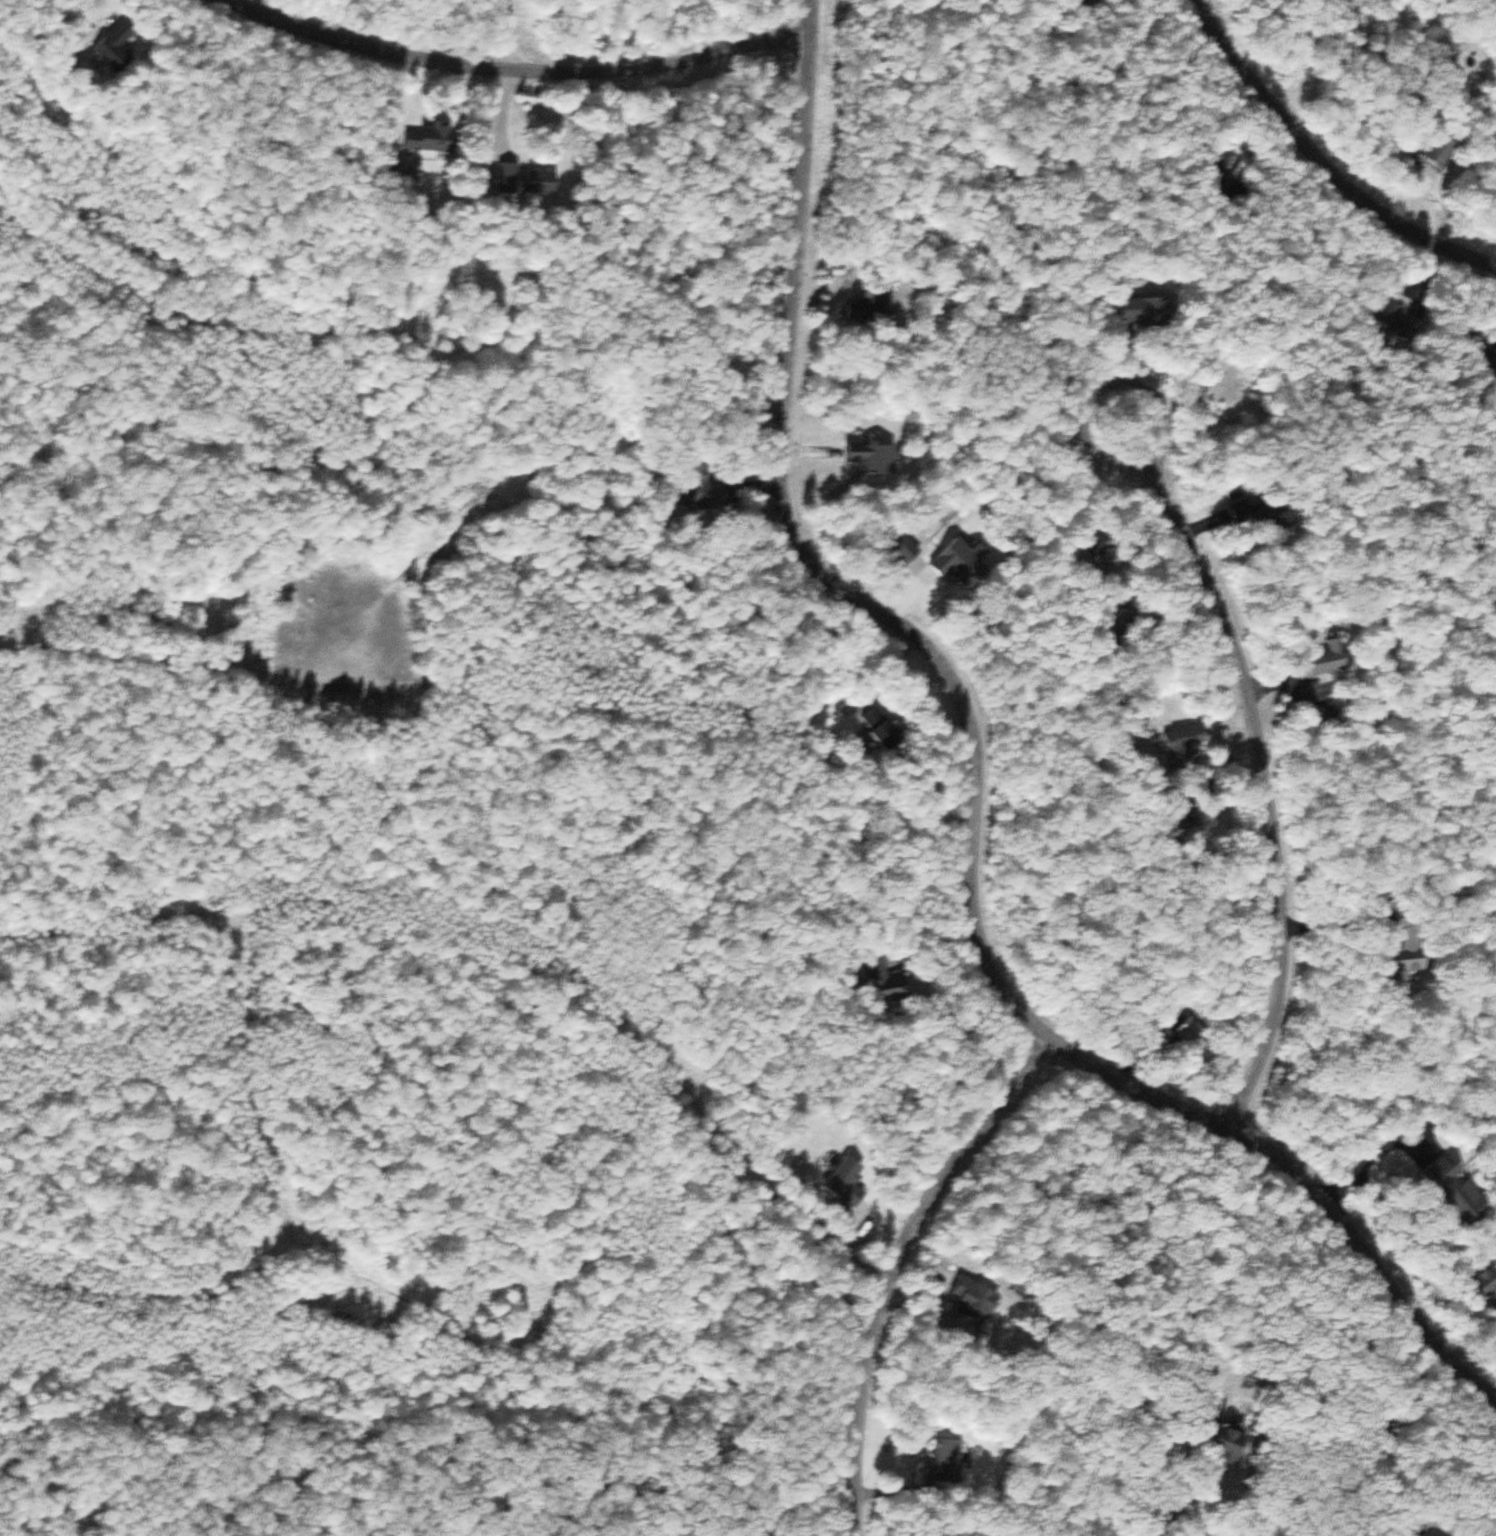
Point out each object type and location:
road: (509, 38)
building: (118, 49)
road: (506, 76)
building: (432, 139)
road: (1309, 172)
building: (529, 180)
building: (874, 306)
building: (1148, 311)
building: (874, 456)
building: (1252, 509)
building: (963, 565)
road: (171, 657)
building: (1335, 659)
building: (1334, 716)
building: (887, 728)
building: (1189, 744)
road: (1261, 766)
road: (970, 791)
building: (1194, 826)
building: (1416, 961)
building: (892, 981)
building: (853, 1181)
building: (1453, 1187)
road: (892, 1264)
building: (1488, 1285)
building: (978, 1301)
building: (948, 1463)
road: (1171, 1511)

